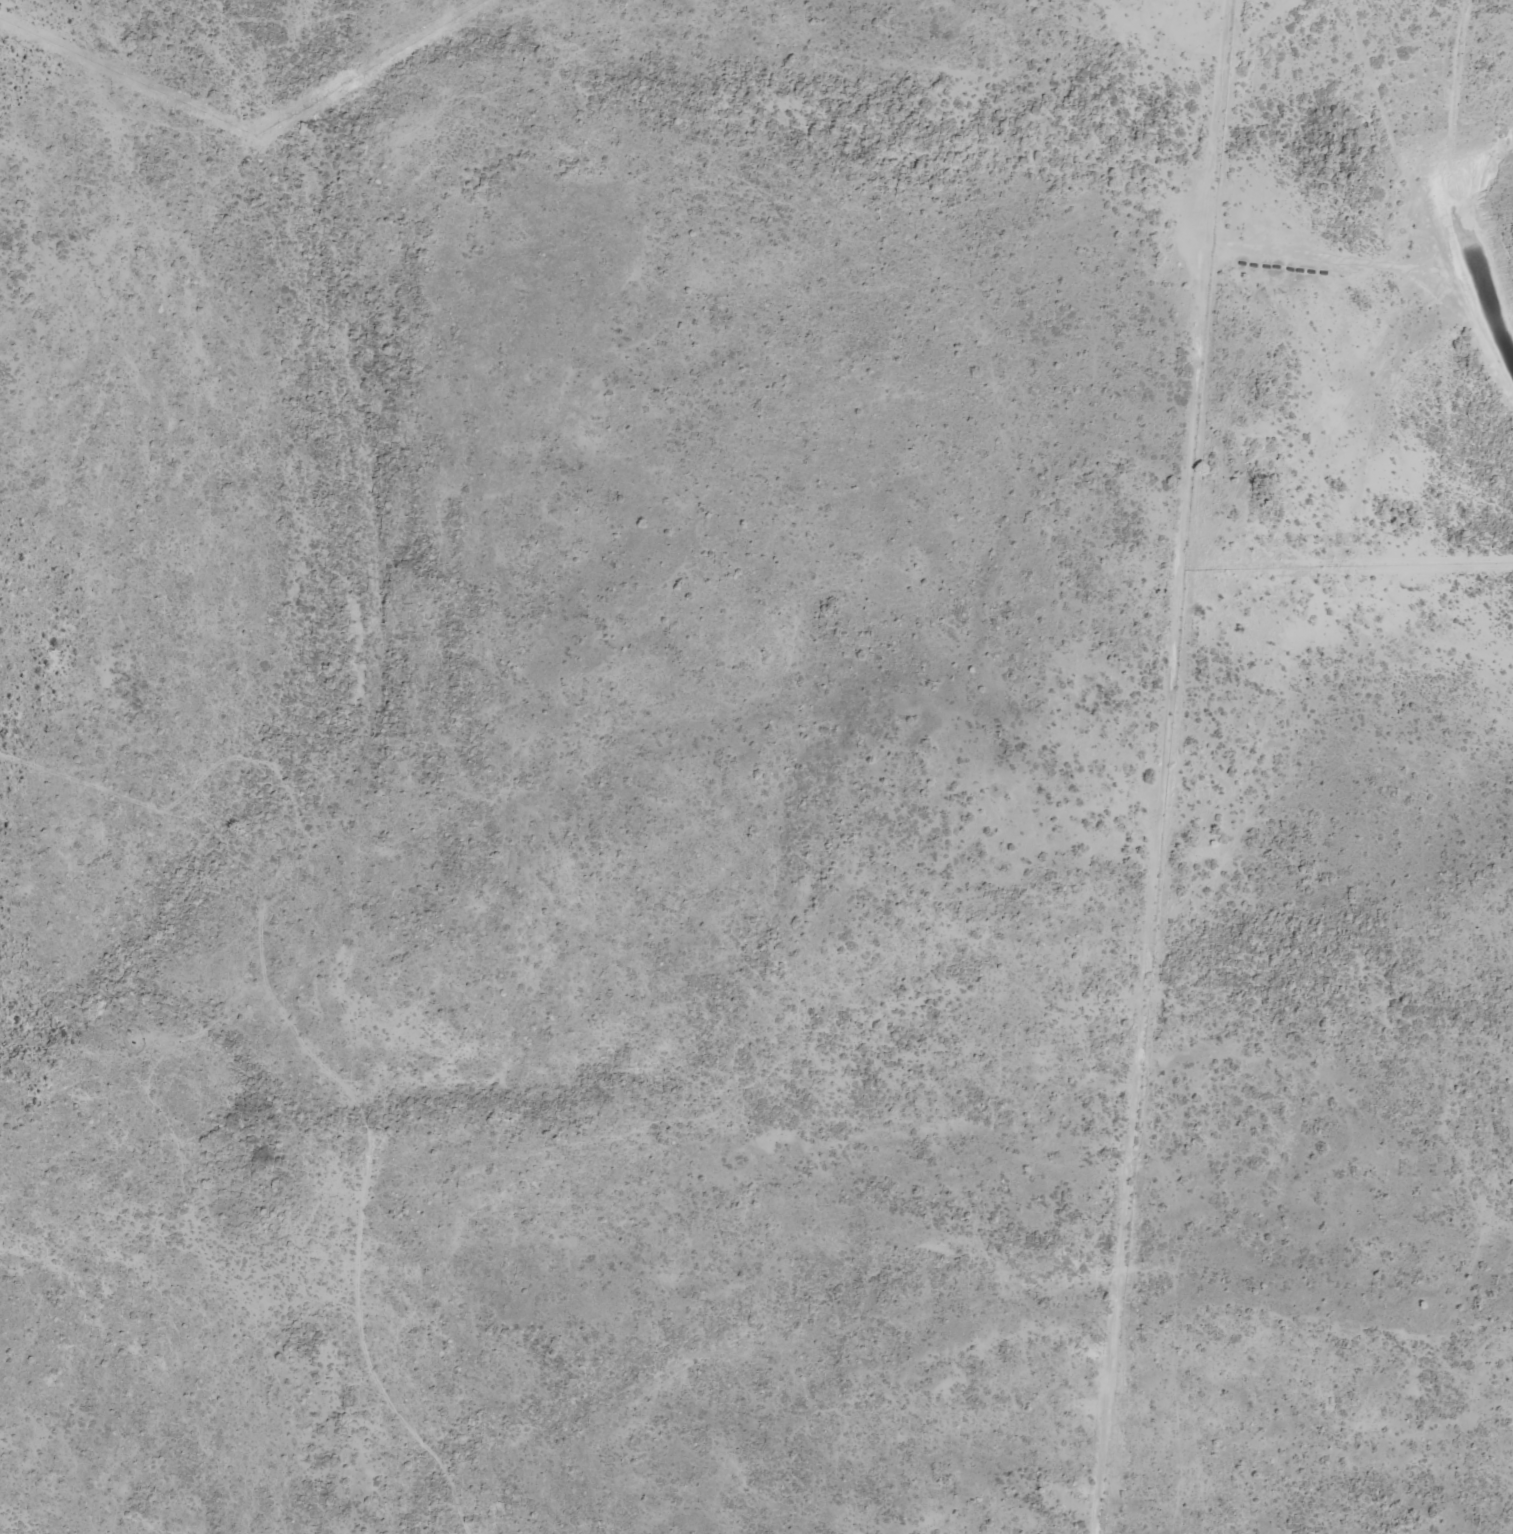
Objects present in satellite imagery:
road: (1431, 193)
road: (293, 1007)

